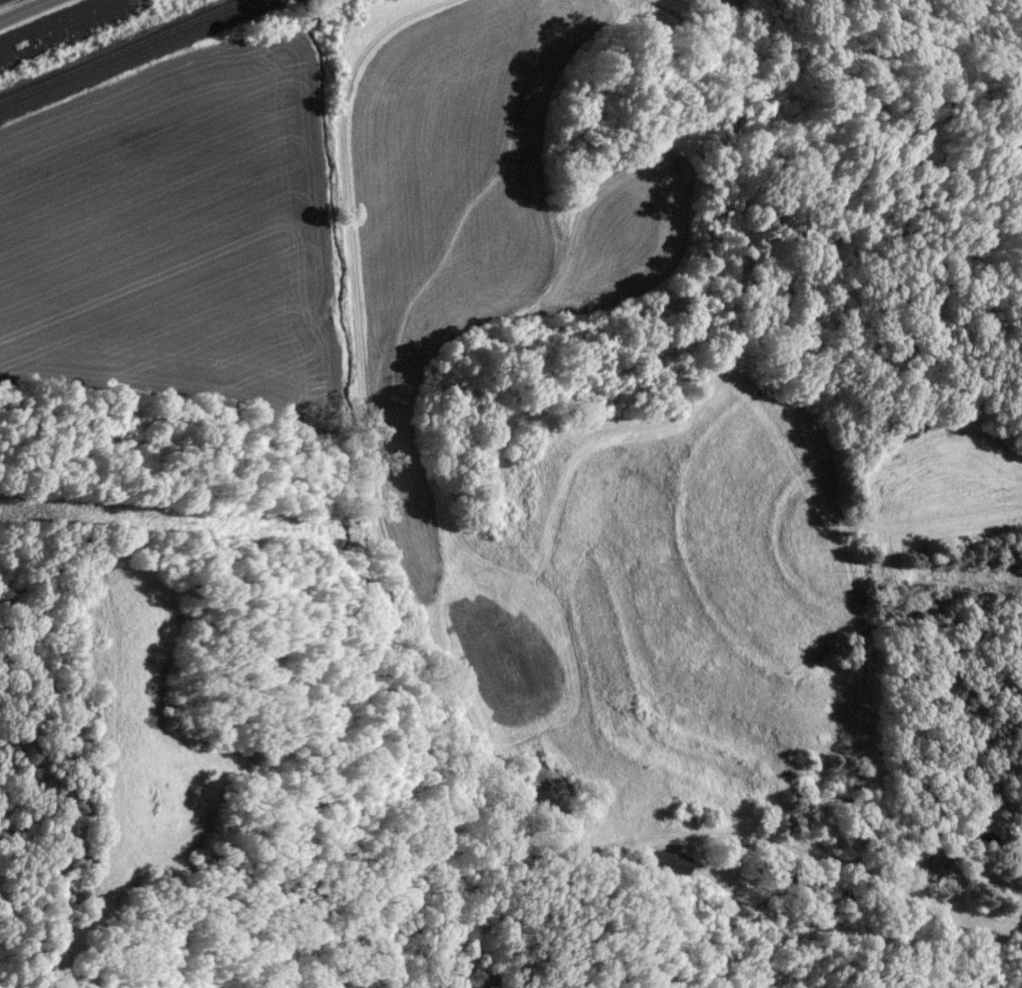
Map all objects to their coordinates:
road: (27, 11)
railway: (120, 50)
railway: (134, 56)
road: (399, 577)
building: (679, 870)
building: (933, 871)

